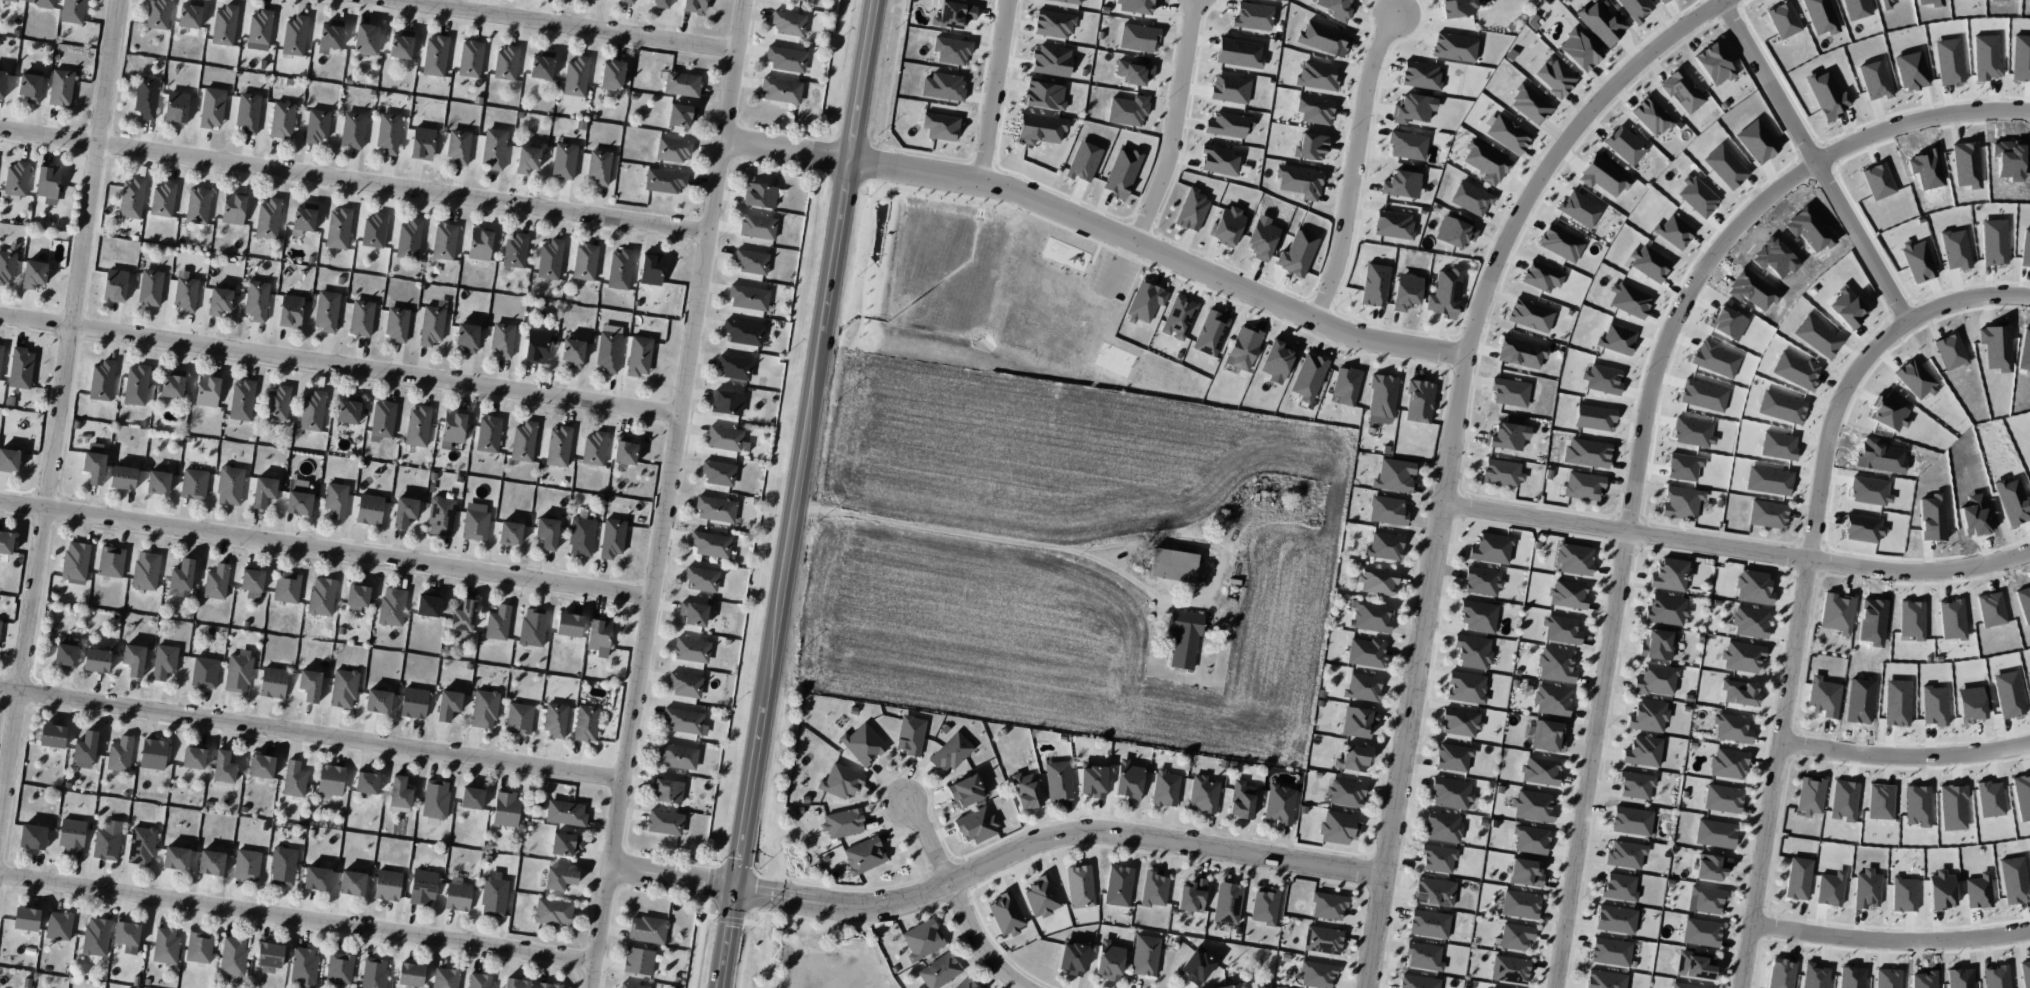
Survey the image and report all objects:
building: (11, 0)
building: (800, 0)
building: (627, 1)
building: (1069, 1)
building: (1662, 1)
building: (42, 3)
building: (661, 3)
building: (694, 6)
building: (1134, 6)
building: (1336, 8)
building: (1456, 8)
building: (1636, 8)
building: (72, 11)
building: (158, 14)
building: (190, 14)
building: (953, 15)
building: (1252, 16)
building: (788, 23)
building: (1601, 23)
building: (1053, 24)
building: (224, 25)
road: (564, 25)
building: (259, 27)
building: (294, 35)
building: (330, 36)
building: (1138, 37)
building: (1322, 38)
building: (365, 39)
building: (401, 45)
building: (1454, 47)
building: (951, 50)
building: (1578, 50)
building: (1238, 53)
building: (435, 55)
building: (470, 58)
building: (786, 59)
building: (1051, 60)
building: (506, 63)
building: (1713, 64)
building: (542, 65)
building: (1134, 71)
building: (611, 74)
building: (1420, 75)
building: (1317, 76)
building: (575, 78)
building: (1555, 78)
building: (2, 83)
building: (681, 84)
building: (30, 85)
building: (943, 86)
building: (60, 88)
building: (1230, 88)
road: (993, 89)
building: (780, 90)
building: (1682, 91)
building: (1044, 94)
building: (146, 97)
building: (1530, 104)
building: (176, 107)
building: (212, 107)
building: (1413, 108)
building: (1127, 110)
building: (1314, 110)
building: (247, 112)
building: (680, 114)
building: (1651, 116)
building: (282, 120)
road: (1174, 122)
building: (1228, 124)
building: (316, 125)
building: (940, 126)
building: (1040, 128)
building: (352, 130)
building: (388, 133)
building: (1507, 134)
building: (422, 143)
building: (1407, 145)
building: (1624, 145)
building: (1310, 146)
building: (458, 147)
road: (786, 147)
building: (493, 148)
building: (672, 149)
building: (527, 159)
building: (1218, 160)
building: (563, 161)
building: (1083, 161)
building: (1485, 161)
road: (1819, 161)
road: (1352, 164)
building: (599, 167)
building: (1122, 173)
building: (1603, 176)
building: (47, 180)
building: (664, 180)
building: (16, 181)
building: (1299, 181)
road: (355, 183)
building: (1401, 184)
building: (759, 195)
building: (131, 198)
building: (1470, 198)
building: (162, 200)
building: (197, 205)
building: (233, 208)
building: (1579, 209)
building: (1192, 210)
building: (268, 219)
building: (1393, 224)
building: (757, 226)
building: (1227, 226)
building: (338, 228)
building: (374, 230)
building: (1454, 232)
building: (1261, 238)
building: (408, 239)
building: (444, 241)
building: (479, 243)
building: (1560, 243)
road: (1158, 248)
building: (515, 251)
building: (1297, 253)
building: (549, 259)
building: (584, 261)
building: (751, 261)
building: (7, 266)
building: (651, 268)
building: (619, 269)
building: (33, 274)
building: (1541, 276)
building: (115, 285)
building: (1374, 285)
building: (150, 287)
building: (185, 291)
building: (1406, 291)
building: (1445, 294)
building: (748, 297)
building: (256, 300)
building: (219, 301)
building: (1145, 302)
building: (290, 311)
building: (326, 311)
building: (1530, 315)
building: (1179, 316)
building: (361, 318)
building: (397, 324)
building: (431, 325)
building: (743, 332)
building: (1210, 333)
building: (466, 337)
building: (502, 339)
building: (536, 346)
building: (608, 348)
building: (1243, 348)
building: (572, 352)
building: (1520, 352)
building: (1, 353)
building: (639, 355)
building: (1275, 361)
building: (734, 367)
building: (20, 368)
road: (340, 368)
building: (1308, 377)
building: (101, 380)
building: (173, 384)
building: (136, 385)
building: (1345, 385)
building: (207, 390)
building: (1509, 392)
building: (1381, 395)
building: (241, 400)
building: (1419, 401)
building: (727, 402)
building: (277, 403)
building: (349, 410)
building: (312, 411)
building: (382, 420)
road: (58, 424)
building: (417, 426)
building: (453, 426)
building: (488, 434)
building: (1507, 436)
road: (1643, 436)
building: (724, 438)
building: (523, 441)
road: (1451, 445)
building: (558, 446)
building: (594, 448)
building: (624, 450)
building: (9, 460)
building: (94, 463)
building: (1501, 472)
building: (718, 473)
building: (1394, 475)
building: (123, 477)
building: (158, 482)
building: (193, 484)
building: (229, 485)
building: (1583, 485)
building: (263, 491)
road: (794, 493)
road: (670, 494)
building: (336, 500)
building: (1680, 502)
building: (298, 503)
building: (369, 509)
building: (715, 509)
building: (1386, 510)
building: (404, 511)
building: (1767, 514)
building: (440, 516)
building: (475, 522)
building: (547, 532)
building: (509, 533)
building: (581, 536)
building: (612, 538)
road: (972, 539)
building: (6, 542)
building: (710, 544)
building: (1385, 546)
building: (1491, 548)
road: (1736, 549)
road: (326, 551)
building: (1574, 559)
building: (110, 561)
building: (75, 562)
building: (1173, 565)
building: (145, 570)
building: (1670, 574)
building: (181, 578)
building: (251, 579)
building: (701, 579)
building: (1377, 580)
building: (1481, 580)
road: (1811, 581)
building: (216, 582)
building: (286, 587)
building: (1753, 587)
building: (1567, 594)
building: (321, 596)
building: (356, 597)
building: (427, 605)
building: (391, 606)
building: (1666, 609)
building: (693, 613)
building: (1836, 613)
building: (1370, 615)
building: (1477, 615)
building: (462, 618)
building: (0, 619)
building: (1750, 621)
building: (497, 623)
building: (568, 624)
building: (532, 627)
building: (1560, 629)
building: (598, 636)
building: (1184, 638)
building: (1656, 644)
building: (691, 650)
building: (1472, 651)
building: (1365, 652)
building: (66, 653)
building: (1741, 657)
building: (134, 659)
building: (96, 660)
building: (164, 661)
building: (1555, 665)
building: (238, 671)
building: (204, 672)
building: (1655, 680)
building: (273, 682)
building: (685, 684)
building: (309, 685)
building: (1362, 687)
building: (1465, 687)
building: (343, 688)
building: (1739, 692)
building: (1822, 696)
building: (1552, 700)
building: (378, 701)
building: (413, 703)
building: (448, 704)
building: (484, 709)
building: (1648, 715)
building: (518, 718)
building: (555, 720)
building: (684, 721)
building: (1358, 722)
building: (1460, 722)
building: (585, 723)
building: (1731, 728)
building: (910, 734)
building: (1548, 735)
building: (52, 736)
road: (312, 736)
building: (862, 744)
building: (85, 750)
building: (1642, 751)
building: (950, 752)
building: (119, 754)
building: (153, 754)
building: (677, 756)
road: (1908, 756)
building: (193, 757)
building: (1452, 757)
building: (1354, 758)
building: (1728, 764)
building: (261, 766)
building: (223, 767)
building: (1539, 771)
building: (294, 779)
building: (1058, 780)
building: (1092, 780)
building: (1128, 780)
building: (330, 781)
building: (840, 781)
building: (366, 783)
building: (1635, 785)
building: (1164, 788)
building: (966, 790)
building: (1025, 790)
building: (667, 791)
building: (1345, 792)
building: (1451, 793)
building: (1202, 794)
building: (399, 795)
building: (1809, 795)
building: (472, 797)
building: (1722, 798)
building: (435, 799)
building: (1240, 799)
building: (1279, 804)
building: (1532, 805)
building: (505, 808)
building: (565, 813)
building: (1631, 821)
building: (664, 822)
building: (842, 823)
building: (976, 825)
building: (1338, 827)
building: (1443, 827)
building: (1714, 833)
building: (71, 836)
building: (32, 837)
building: (1530, 839)
building: (107, 840)
road: (927, 841)
building: (564, 843)
building: (141, 845)
building: (1625, 854)
building: (863, 855)
building: (176, 858)
building: (1437, 858)
road: (997, 861)
building: (211, 862)
building: (247, 864)
building: (282, 866)
building: (1711, 867)
building: (1524, 873)
building: (316, 878)
building: (559, 878)
building: (1797, 878)
building: (351, 883)
building: (387, 885)
building: (1118, 885)
building: (1079, 886)
building: (422, 887)
building: (1618, 887)
building: (1154, 889)
building: (1434, 891)
building: (493, 894)
building: (457, 896)
building: (1042, 896)
building: (1192, 896)
building: (1706, 900)
building: (1227, 902)
building: (1519, 904)
building: (1328, 905)
building: (1264, 906)
building: (552, 911)
building: (1006, 914)
building: (26, 918)
building: (1615, 919)
road: (298, 920)
building: (1429, 923)
building: (58, 925)
building: (647, 929)
building: (1701, 932)
building: (126, 933)
building: (96, 936)
building: (1515, 936)
building: (922, 939)
building: (1322, 939)
road: (979, 940)
road: (1894, 940)
building: (165, 945)
building: (199, 947)
building: (1610, 951)
building: (1145, 955)
building: (233, 956)
building: (1423, 956)
building: (269, 957)
building: (1072, 957)
building: (638, 960)
building: (1108, 961)
building: (1694, 964)
building: (1196, 966)
building: (303, 967)
building: (339, 968)
building: (1509, 969)
building: (939, 971)
building: (374, 973)
building: (410, 974)
building: (1780, 974)
building: (1317, 975)
building: (445, 978)
building: (1605, 979)
building: (480, 980)
building: (1418, 982)
building: (516, 983)
building: (966, 983)
building: (548, 985)
building: (631, 985)
building: (1233, 985)
building: (1687, 986)
building: (1492, 987)

